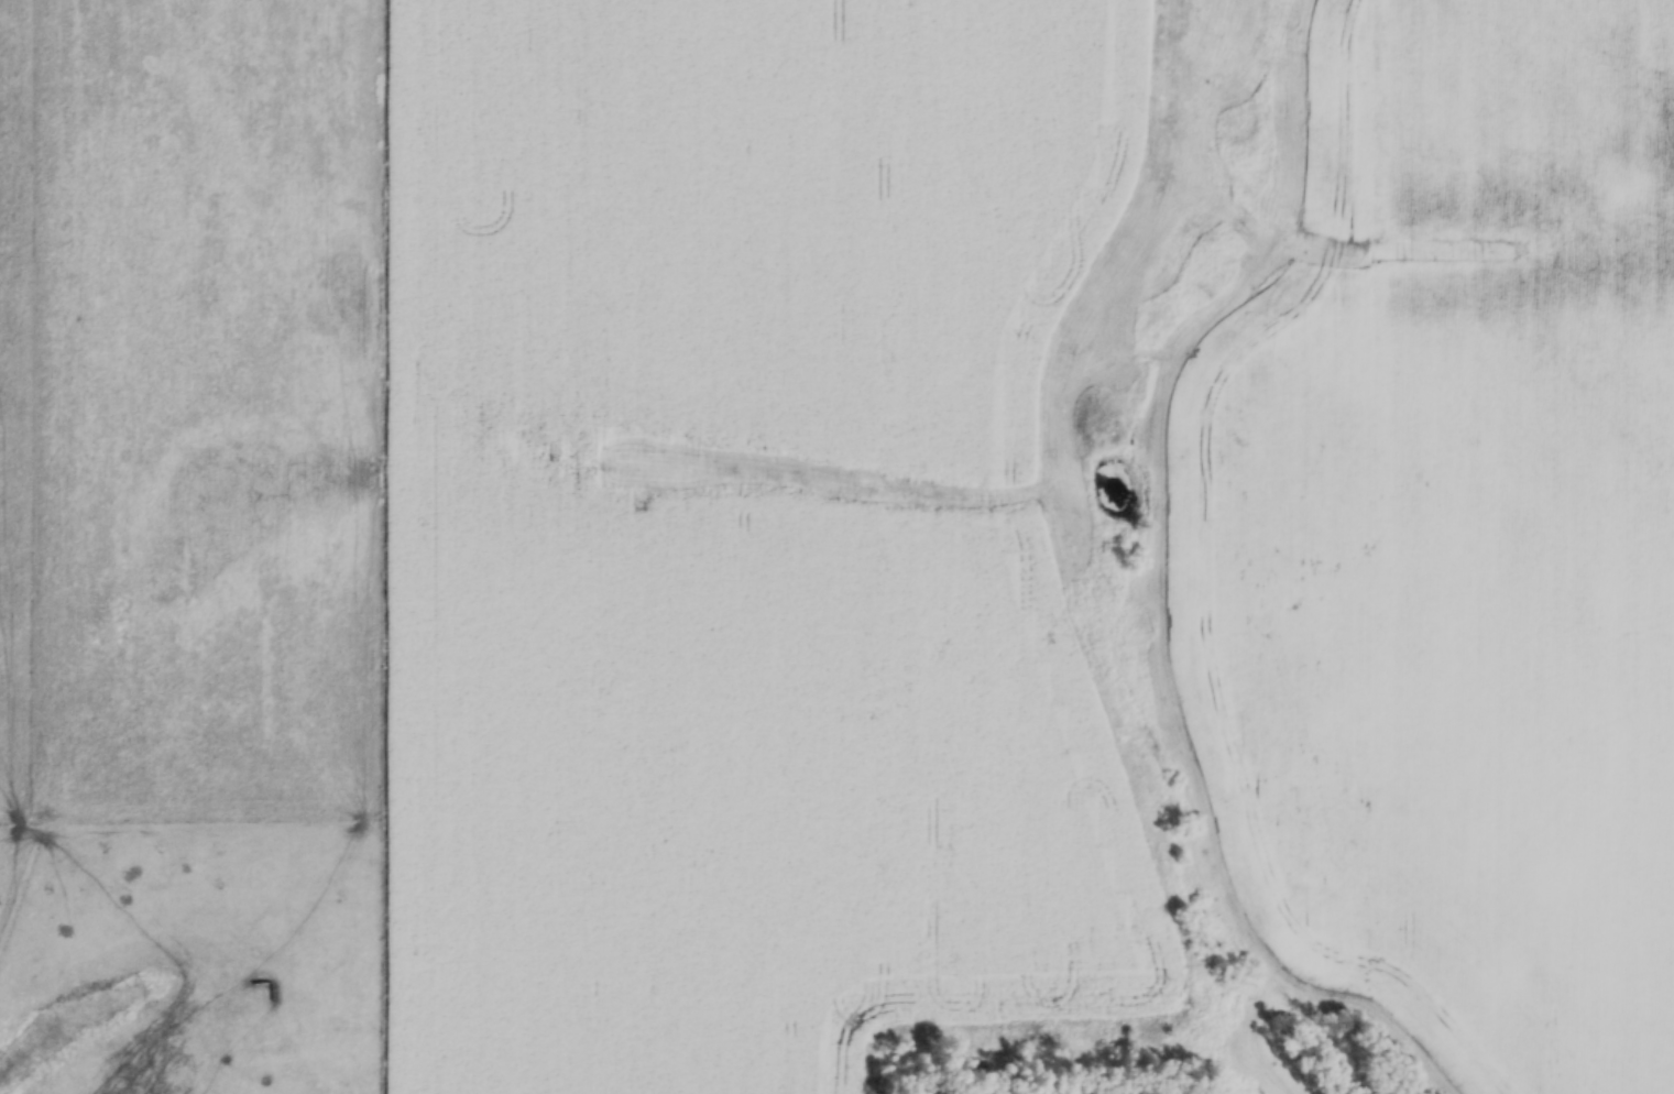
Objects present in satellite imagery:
building: (262, 995)

